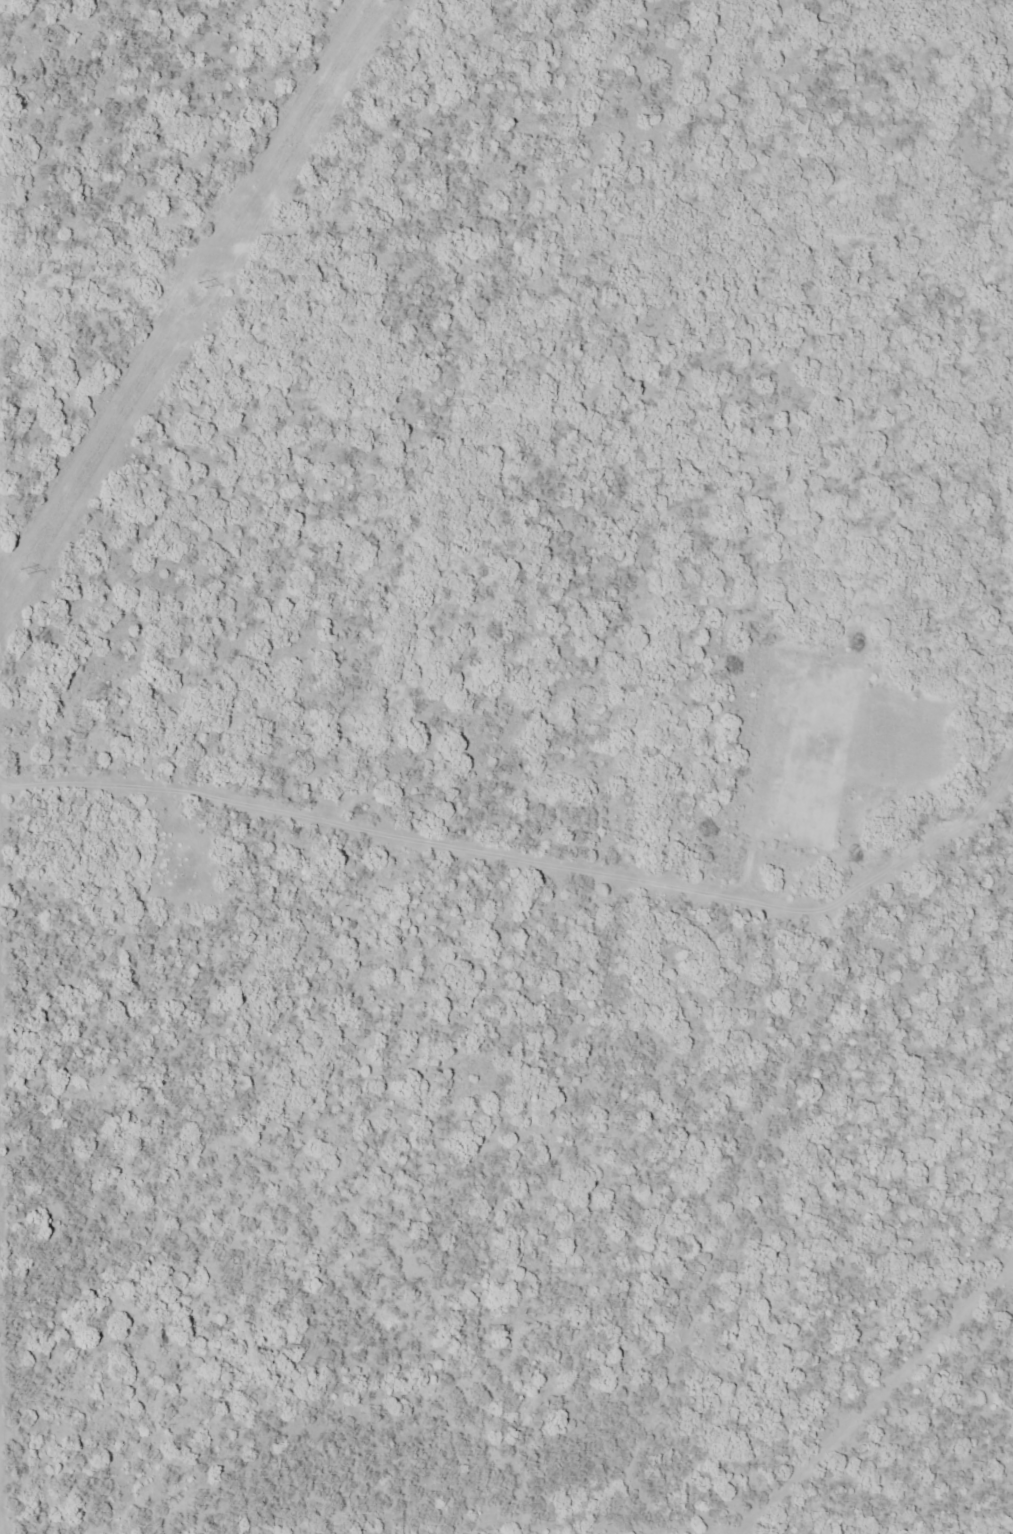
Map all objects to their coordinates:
road: (244, 277)
power tower: (198, 285)
power tower: (20, 568)
road: (490, 846)

